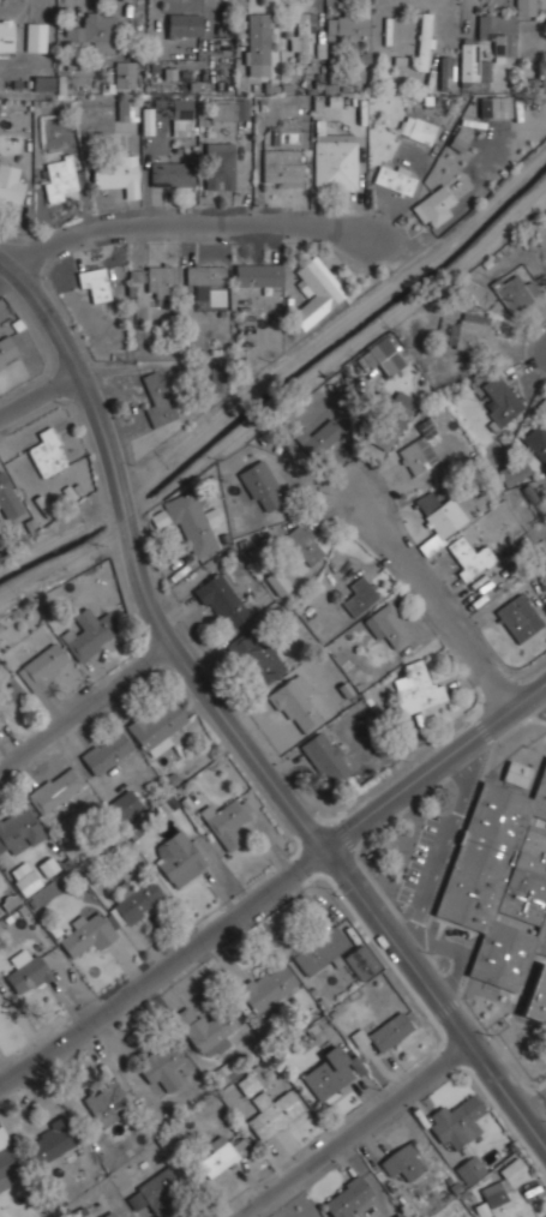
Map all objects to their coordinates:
building: (346, 23)
building: (184, 24)
building: (502, 28)
building: (90, 32)
building: (7, 34)
building: (35, 35)
building: (301, 35)
building: (422, 40)
building: (257, 43)
building: (470, 61)
building: (446, 68)
building: (484, 70)
building: (125, 76)
building: (43, 83)
power tower: (329, 95)
building: (496, 106)
building: (227, 107)
building: (126, 109)
building: (181, 115)
building: (416, 127)
building: (460, 139)
building: (334, 160)
building: (218, 164)
building: (282, 166)
building: (115, 170)
building: (170, 173)
building: (58, 178)
building: (395, 178)
building: (10, 185)
building: (434, 205)
road: (157, 226)
road: (343, 226)
building: (204, 274)
building: (257, 274)
building: (136, 275)
building: (158, 280)
building: (94, 283)
building: (472, 289)
building: (316, 292)
building: (512, 292)
building: (470, 332)
road: (539, 341)
building: (7, 350)
building: (383, 356)
building: (218, 378)
road: (38, 390)
building: (503, 394)
building: (158, 398)
building: (389, 414)
building: (319, 436)
building: (536, 440)
building: (420, 449)
building: (47, 452)
building: (515, 472)
building: (262, 486)
building: (7, 498)
building: (437, 512)
building: (158, 518)
building: (191, 523)
building: (299, 545)
building: (463, 554)
building: (276, 582)
building: (359, 594)
building: (220, 598)
road: (438, 604)
building: (518, 617)
building: (388, 625)
building: (89, 633)
building: (256, 657)
building: (42, 666)
building: (419, 688)
building: (10, 700)
road: (538, 702)
building: (294, 703)
road: (85, 707)
road: (229, 723)
building: (157, 726)
building: (104, 750)
building: (325, 756)
building: (516, 773)
building: (54, 787)
building: (124, 801)
building: (227, 821)
building: (18, 829)
road: (442, 851)
building: (178, 856)
parking lot: (419, 857)
building: (48, 867)
building: (26, 880)
road: (274, 886)
building: (504, 889)
building: (137, 899)
building: (85, 934)
building: (319, 949)
road: (458, 951)
building: (360, 961)
building: (25, 971)
building: (268, 985)
building: (205, 1030)
building: (384, 1032)
building: (161, 1066)
building: (330, 1072)
building: (233, 1077)
building: (106, 1101)
road: (534, 1104)
building: (271, 1111)
parking lot: (545, 1116)
building: (456, 1122)
road: (355, 1129)
building: (48, 1143)
building: (218, 1155)
building: (6, 1159)
building: (402, 1162)
building: (469, 1168)
building: (156, 1189)
building: (504, 1193)
building: (346, 1197)
building: (79, 1212)
building: (108, 1213)
building: (398, 1215)
building: (545, 1216)

